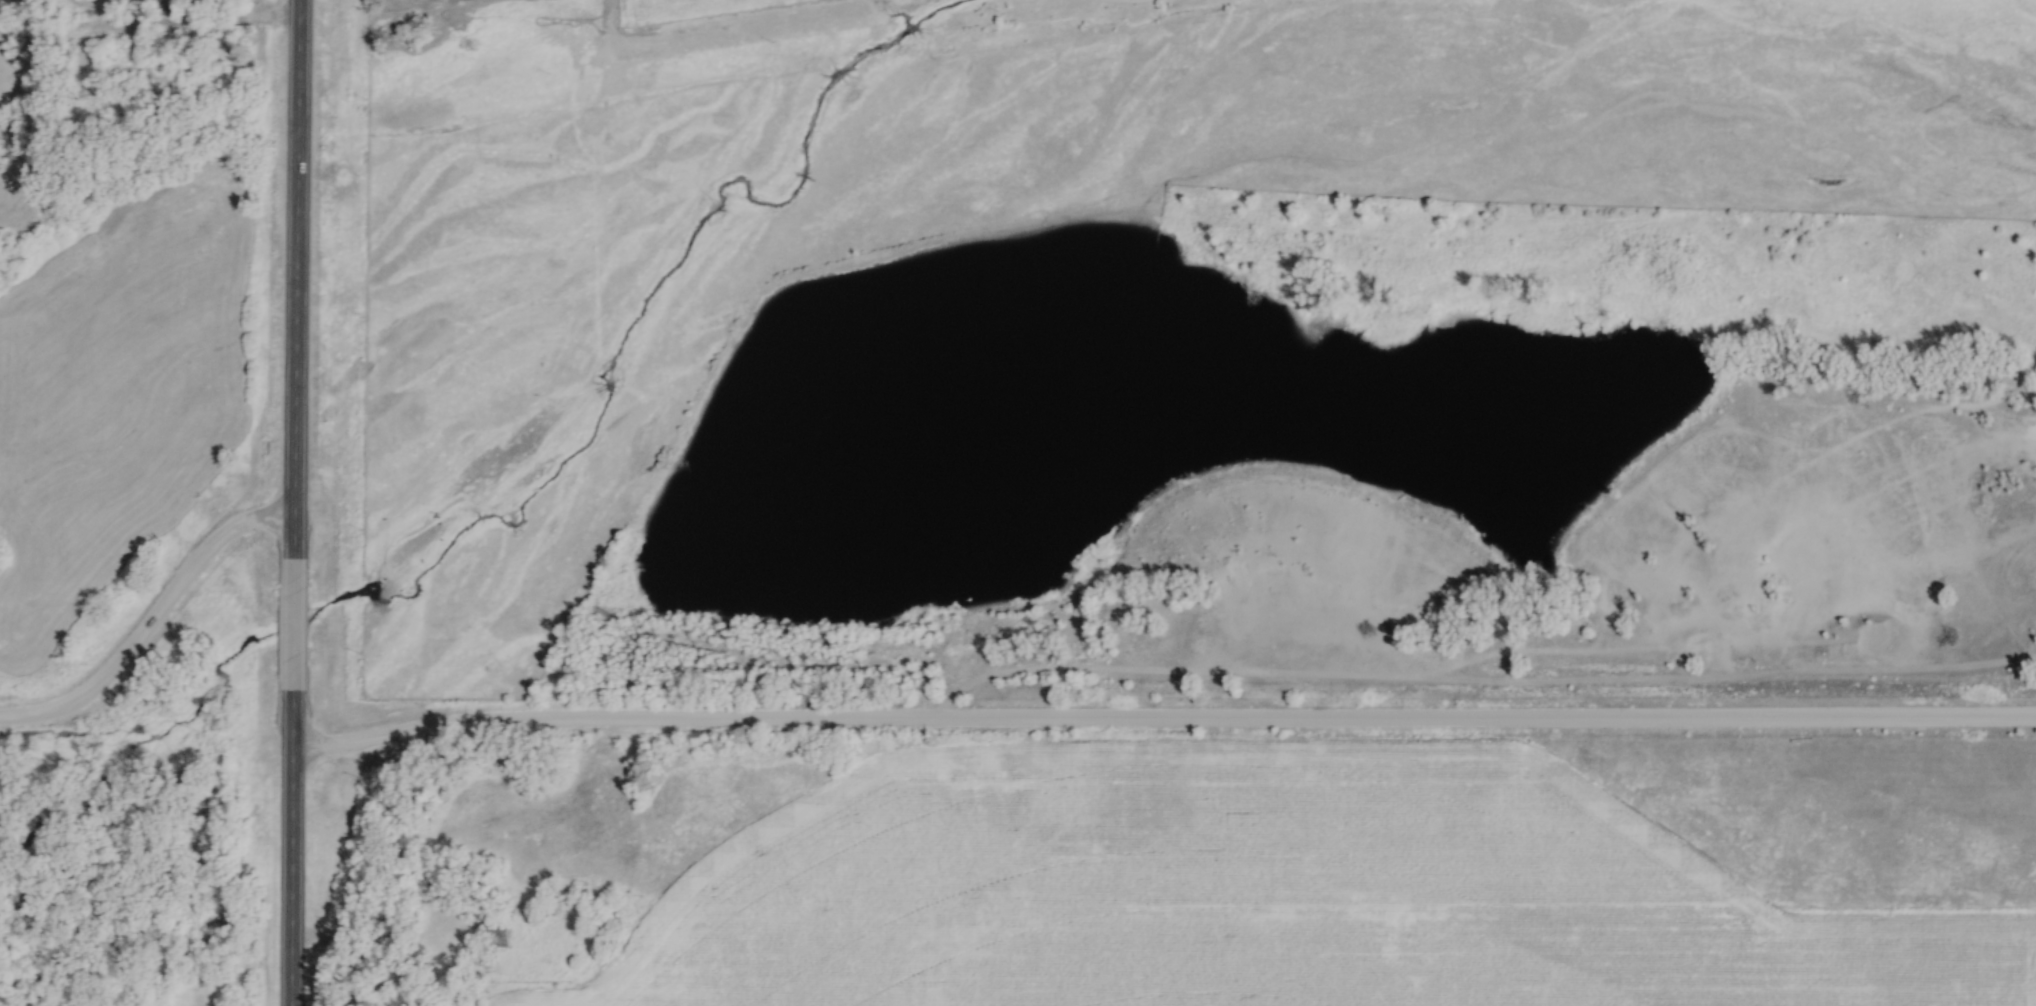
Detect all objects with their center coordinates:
building: (161, 6)
river: (692, 231)
road: (294, 279)
road: (149, 622)
road: (291, 624)
river: (228, 656)
road: (1161, 723)
road: (288, 847)

